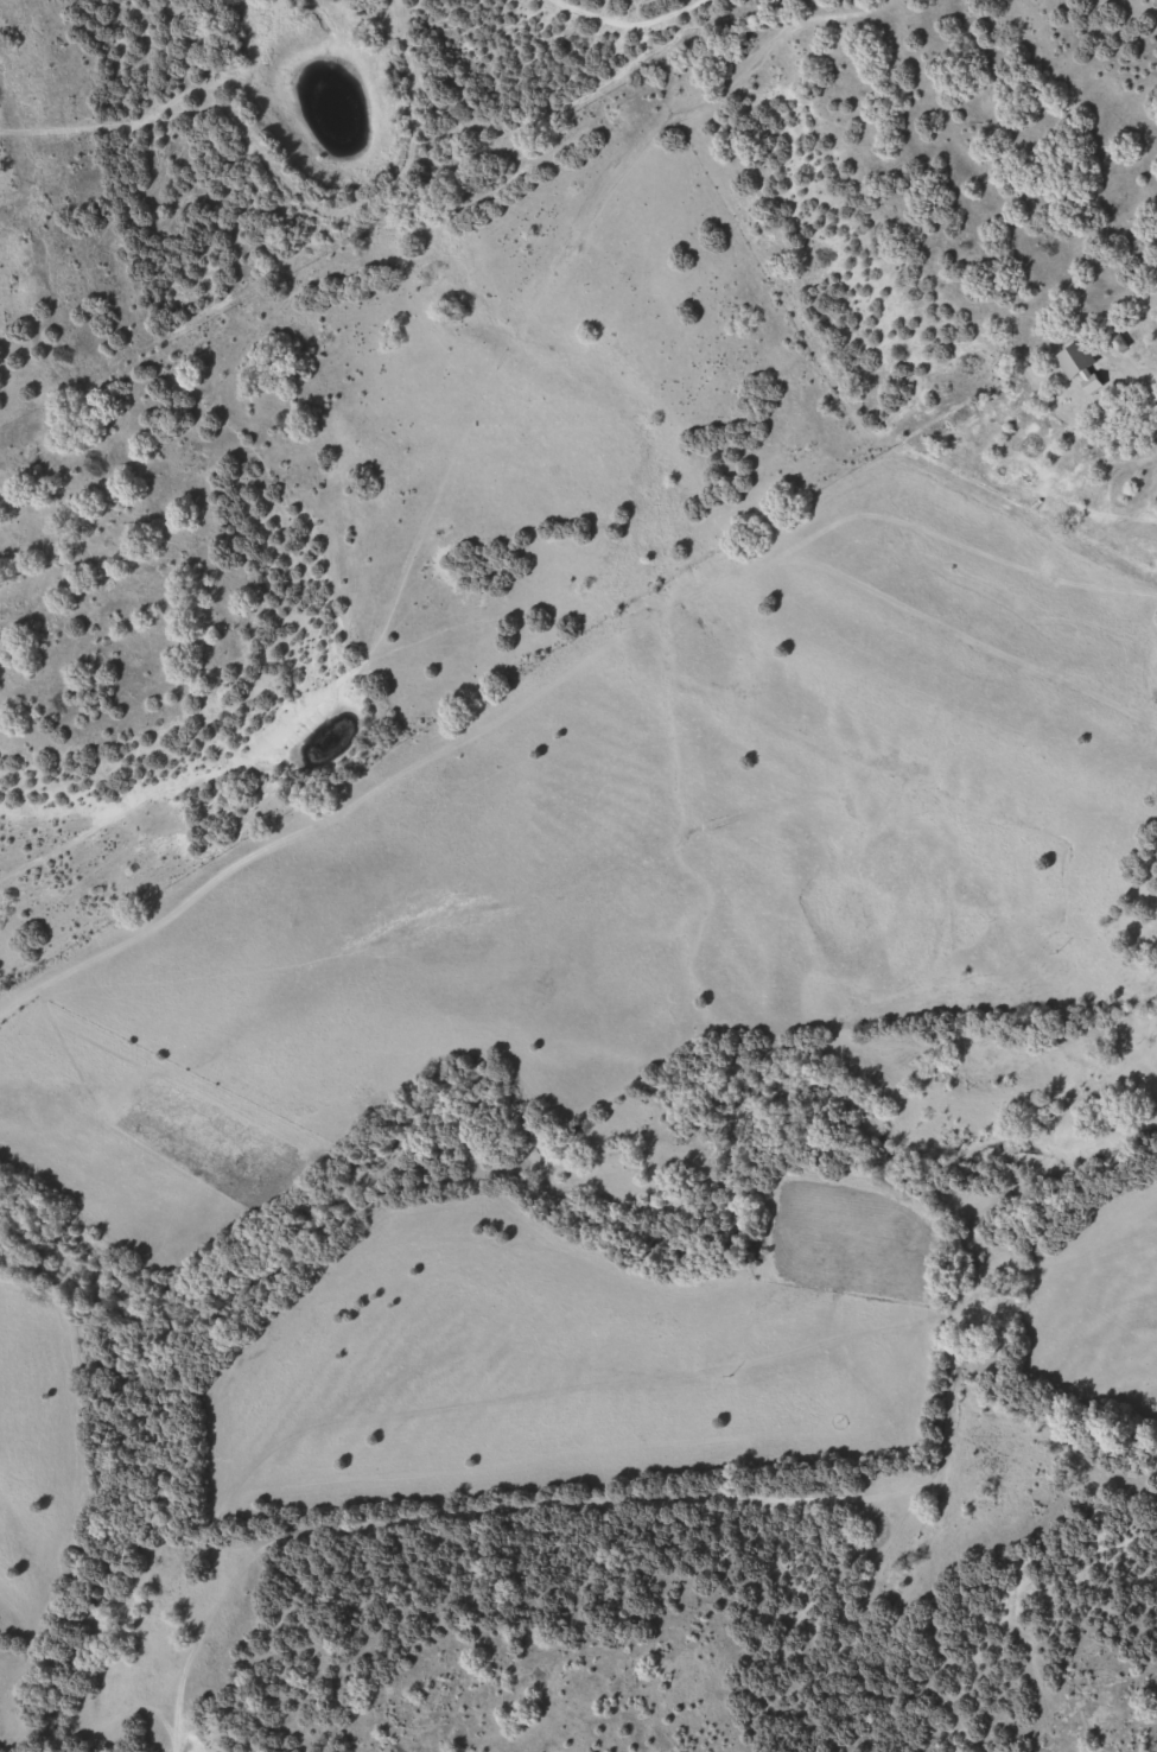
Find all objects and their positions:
building: (1075, 360)

